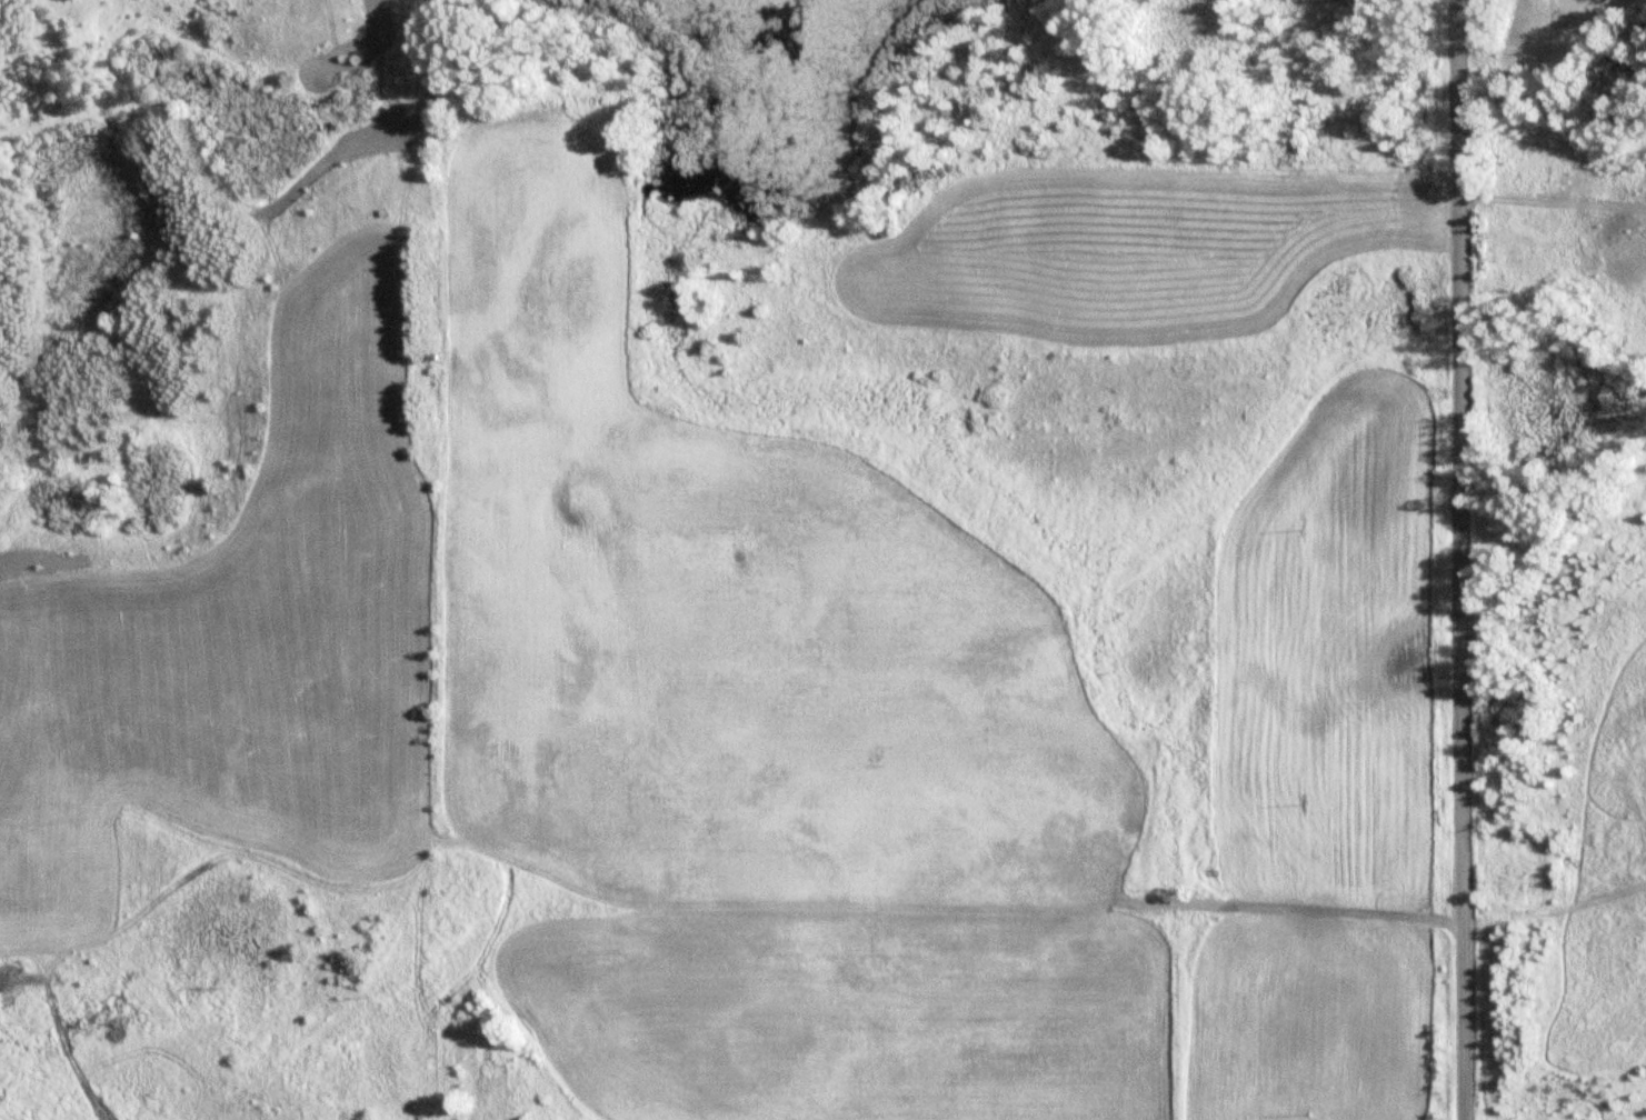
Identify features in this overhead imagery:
road: (1460, 560)

